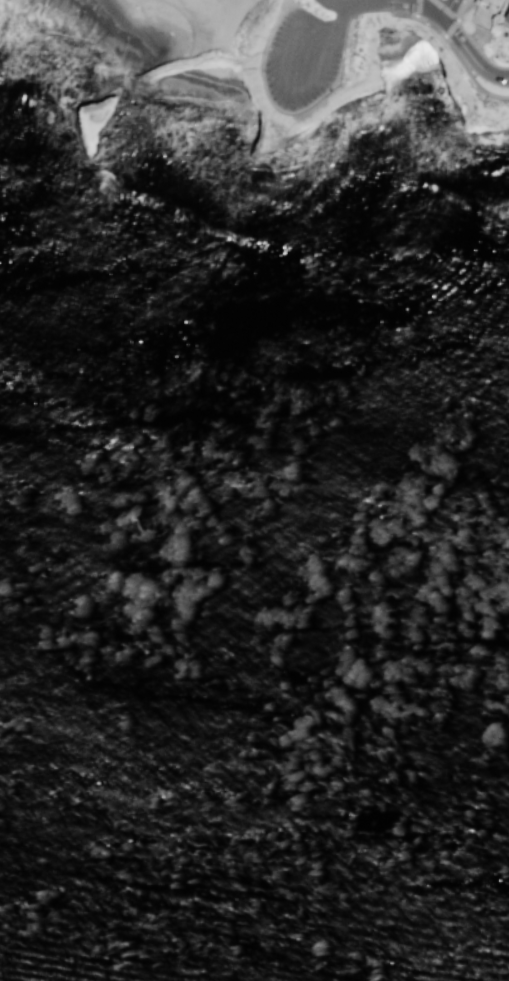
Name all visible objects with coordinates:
road: (385, 1)
road: (383, 2)
building: (493, 5)
road: (432, 7)
road: (417, 9)
road: (349, 10)
road: (444, 10)
road: (444, 11)
road: (430, 19)
road: (342, 20)
road: (422, 21)
building: (507, 22)
road: (450, 30)
road: (332, 37)
road: (471, 41)
road: (467, 51)
parking lot: (303, 59)
park: (255, 62)
road: (286, 65)
road: (463, 67)

